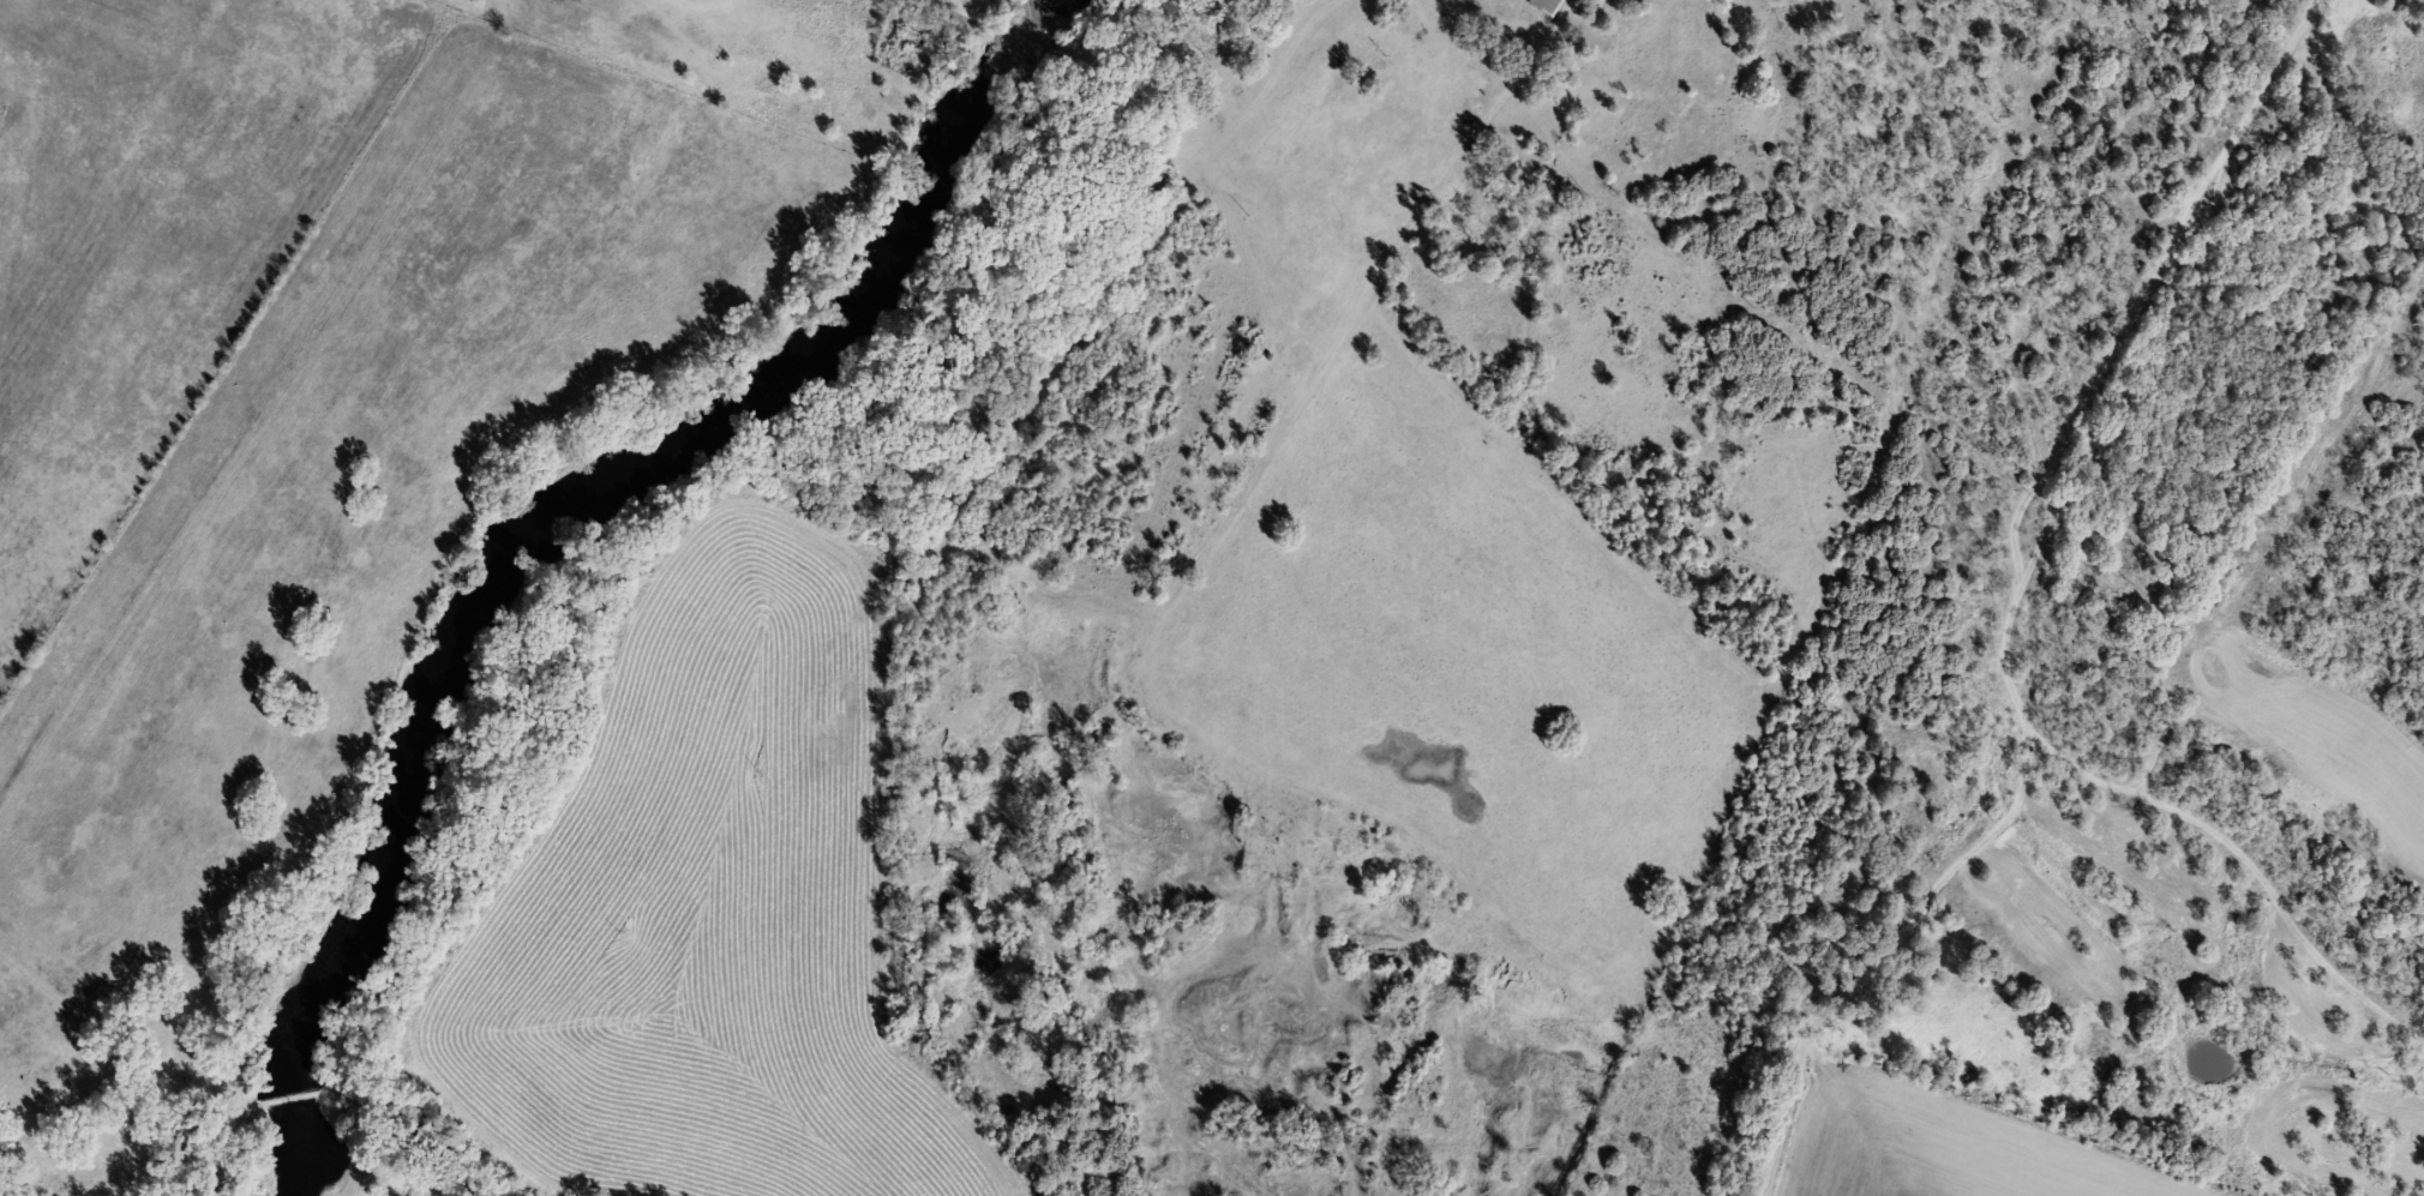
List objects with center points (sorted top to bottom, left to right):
building: (916, 43)
road: (1360, 337)
road: (2041, 468)
river: (526, 506)

